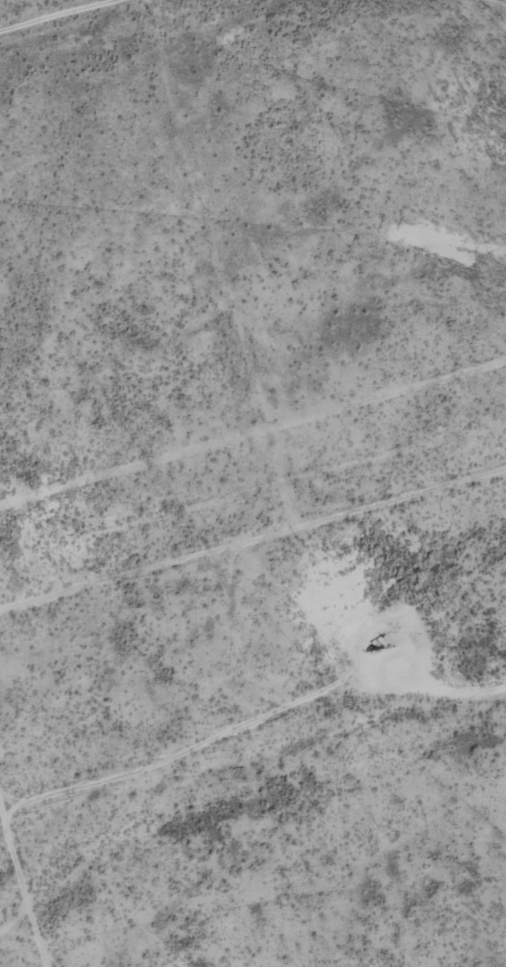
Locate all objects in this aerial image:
road: (74, 21)

